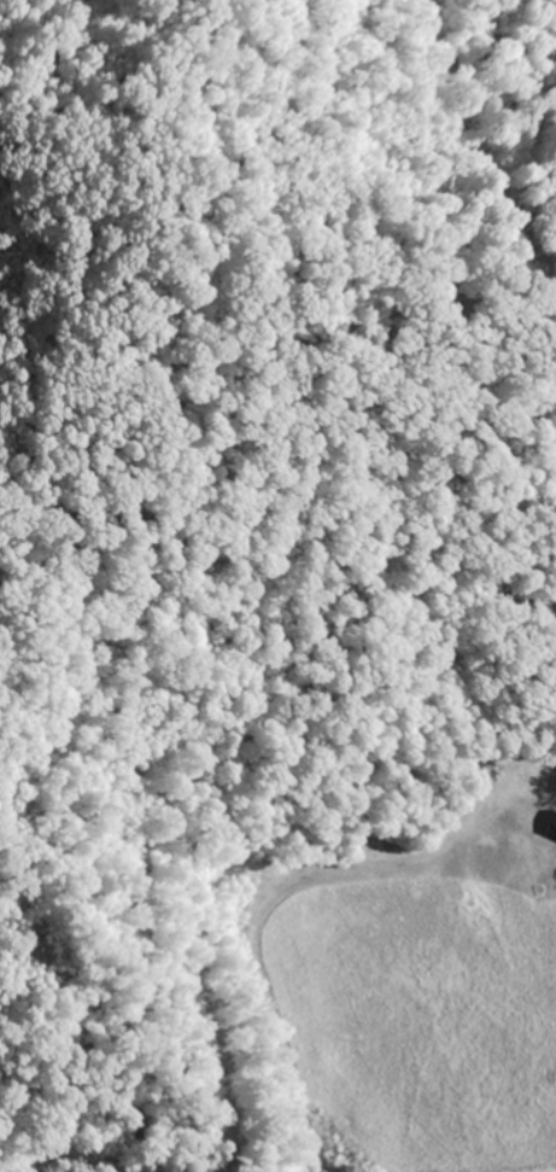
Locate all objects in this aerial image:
building: (551, 829)

